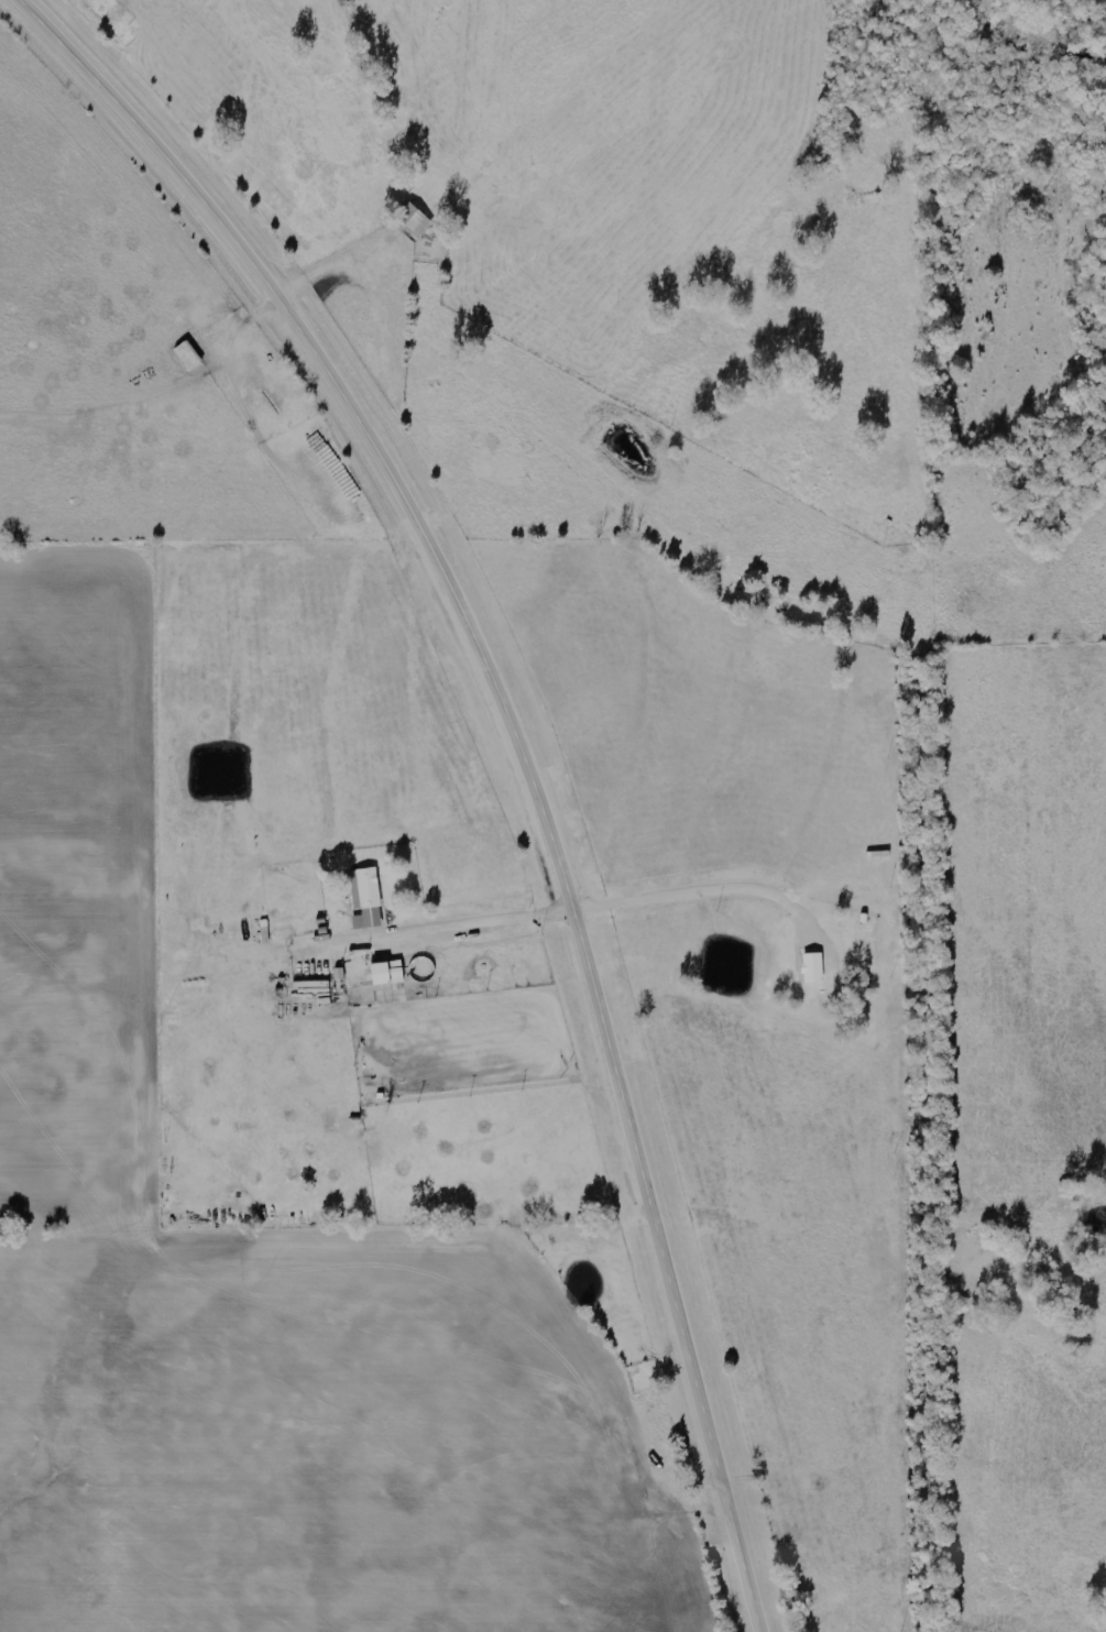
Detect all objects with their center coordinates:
road: (523, 752)
building: (365, 898)
building: (811, 970)
building: (385, 973)

